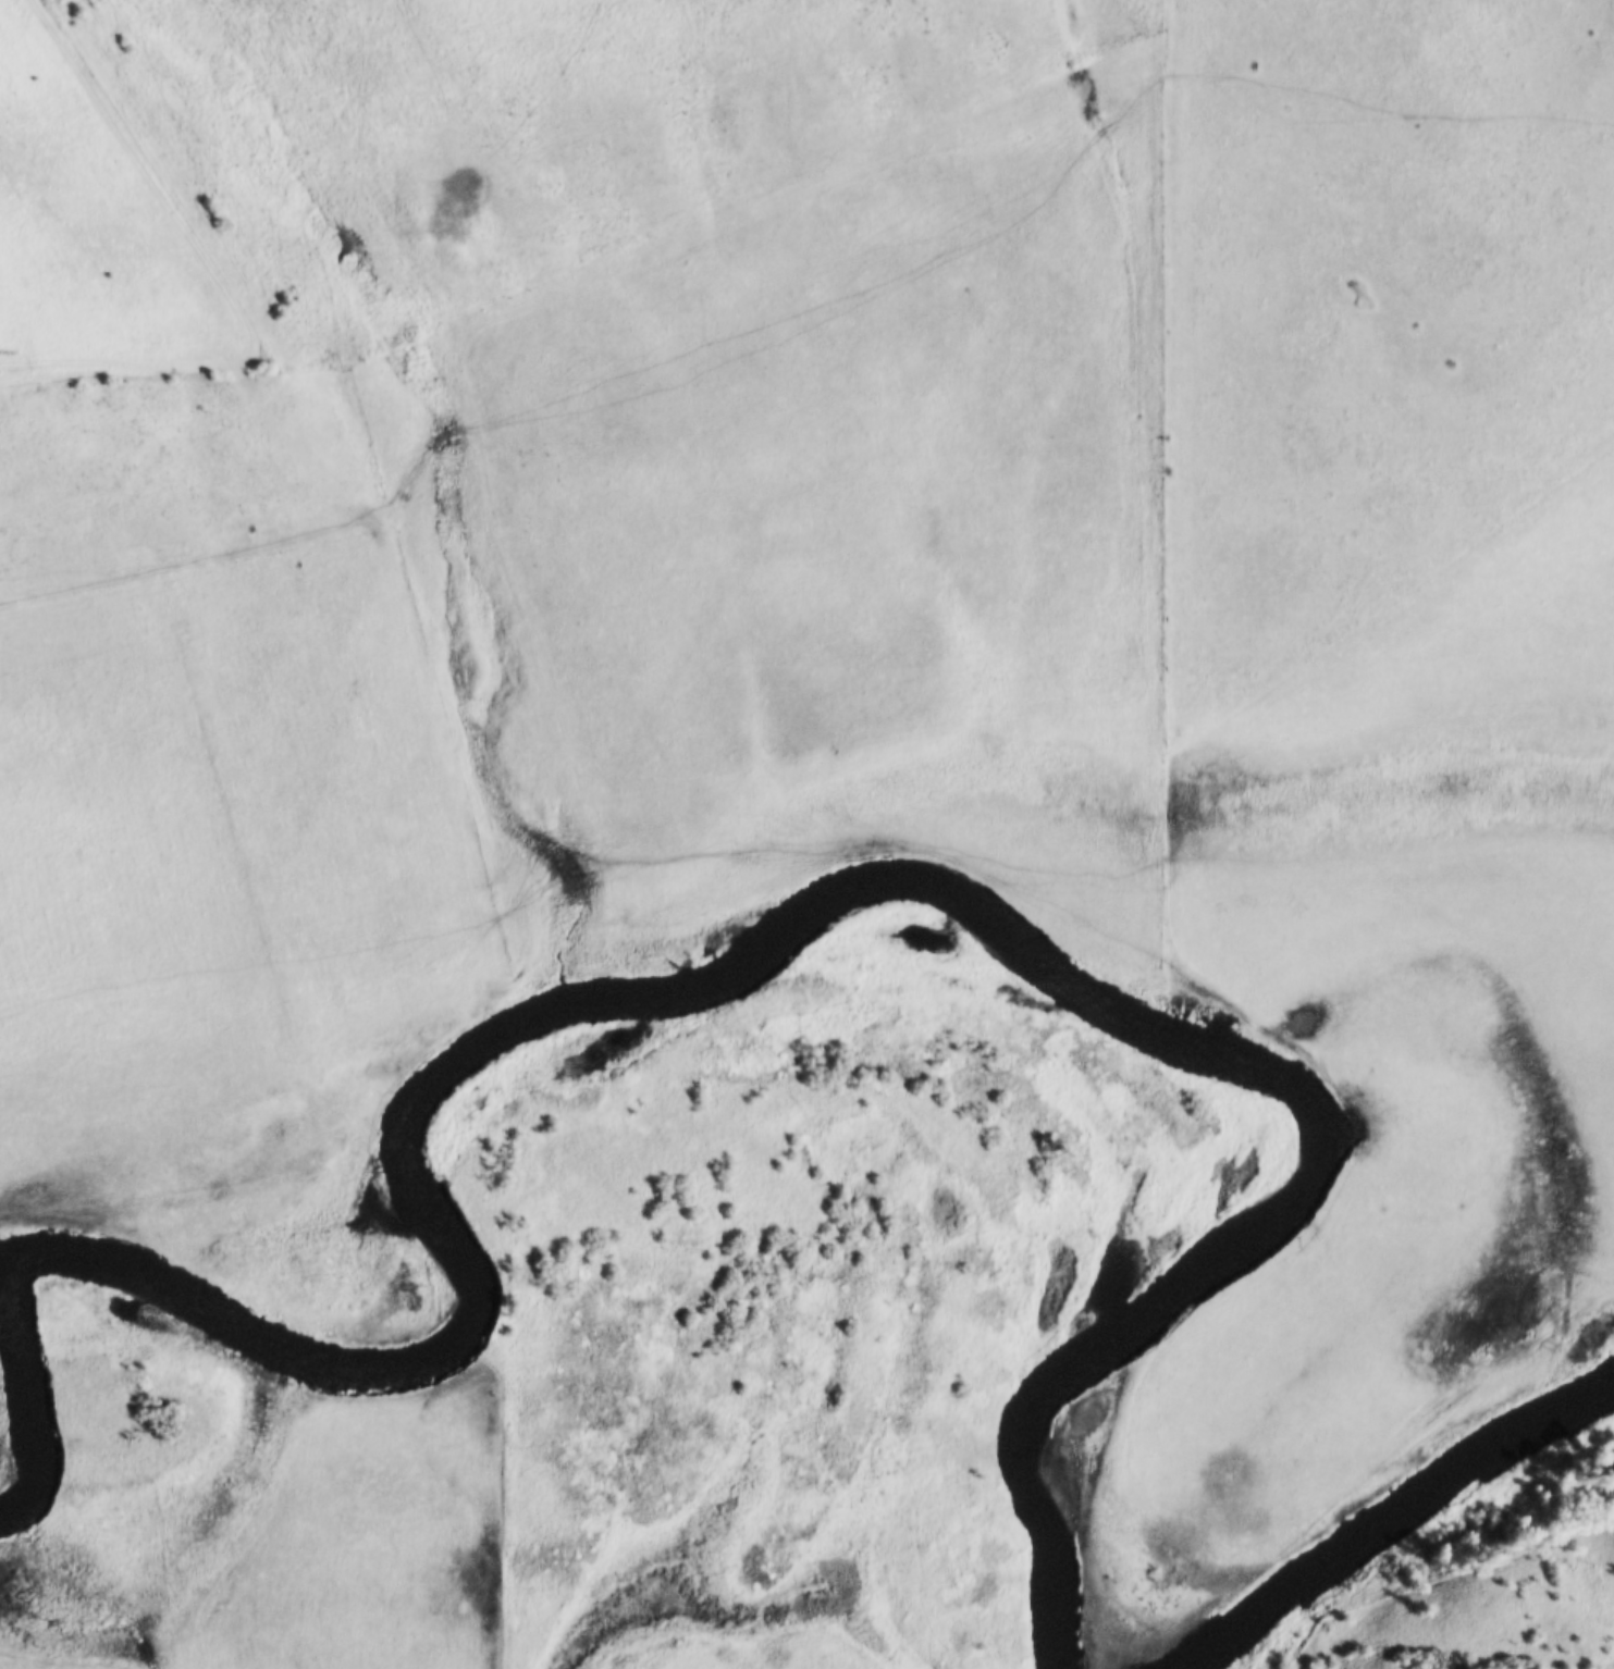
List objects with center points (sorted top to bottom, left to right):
road: (146, 177)
river: (1235, 1041)
river: (384, 1175)
river: (147, 1289)
river: (13, 1395)
river: (1371, 1497)

